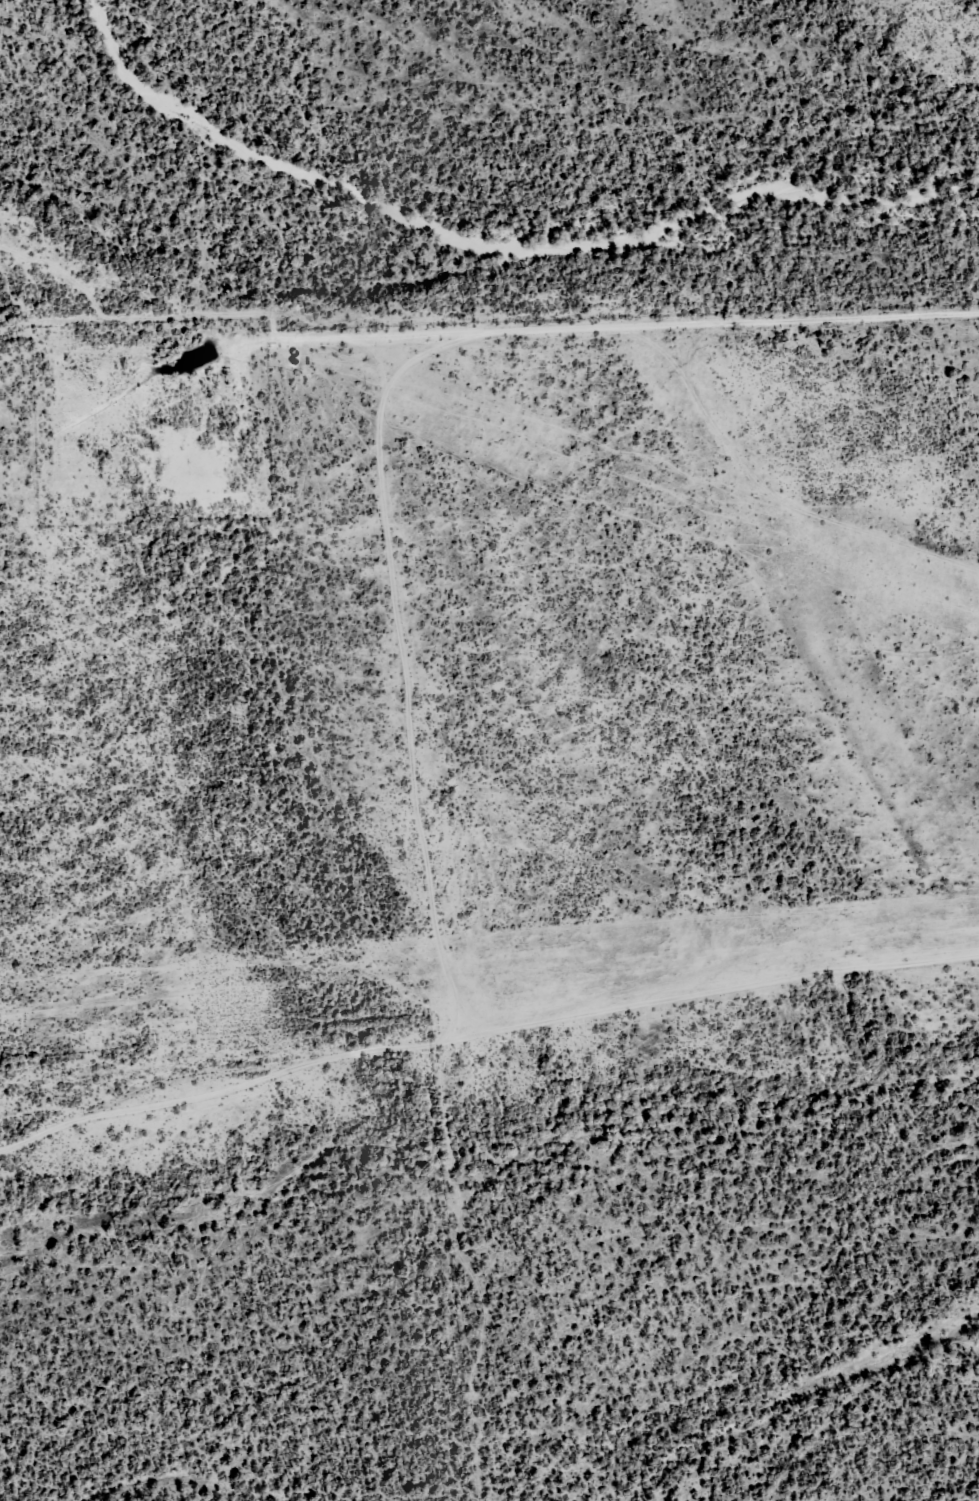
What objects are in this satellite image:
airport runway: (663, 498)
airport runway: (817, 641)
airport runway: (489, 975)
road: (483, 1055)

